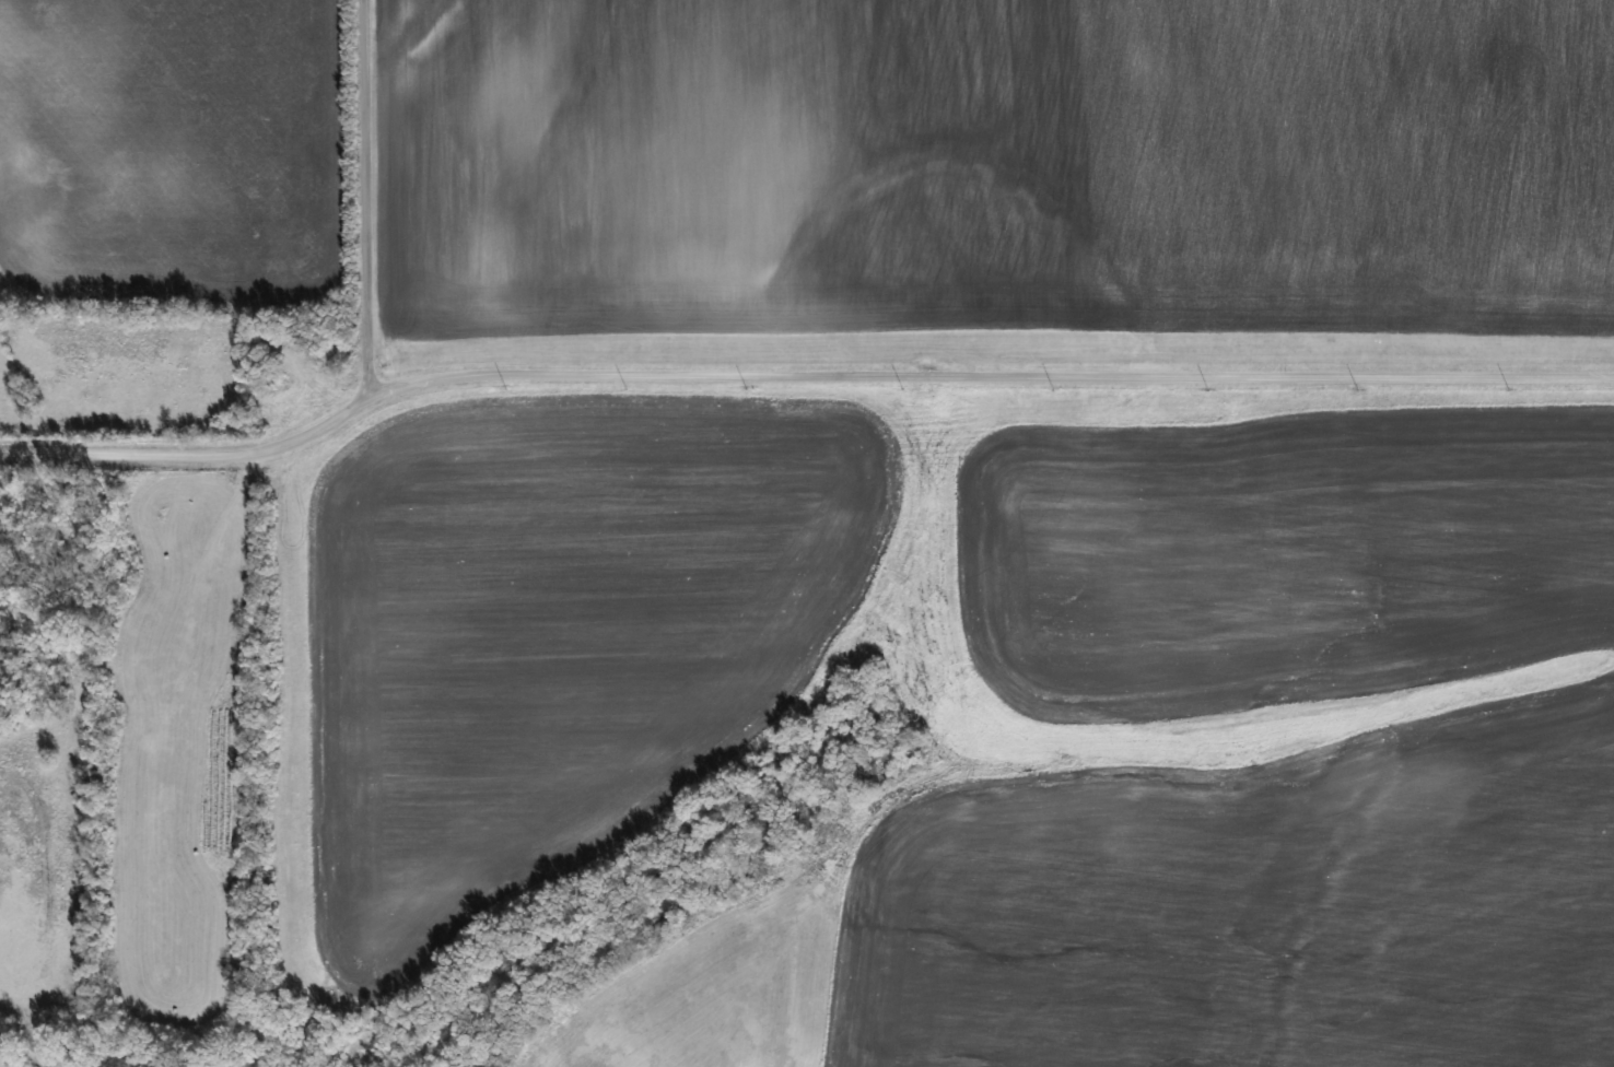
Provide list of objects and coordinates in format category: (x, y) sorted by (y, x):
road: (364, 197)
road: (798, 375)

